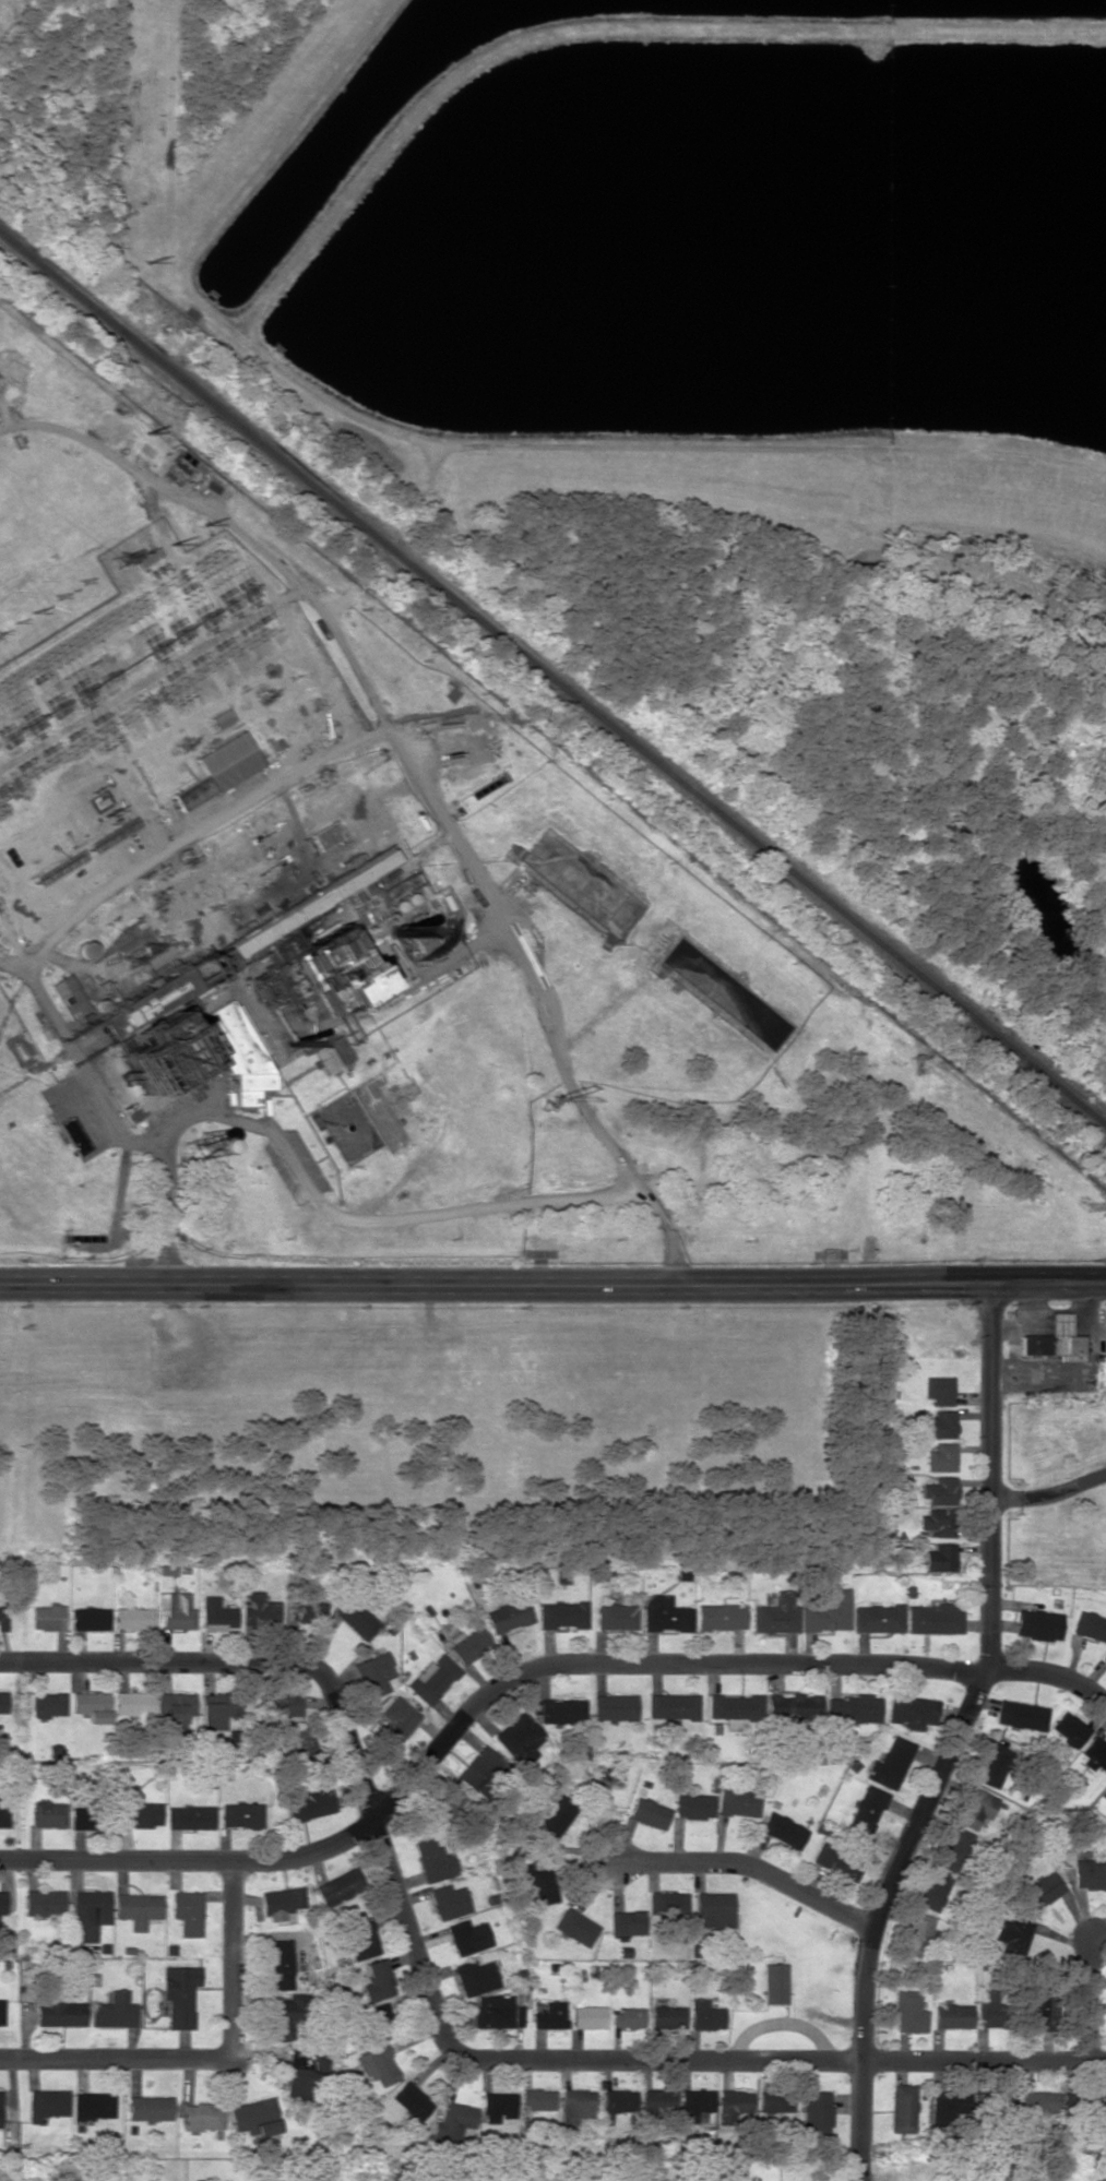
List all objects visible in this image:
power tower: (147, 249)
power tower: (151, 434)
power tower: (117, 559)
power tower: (32, 612)
power substation: (127, 651)
railway: (550, 686)
building: (227, 761)
road: (417, 776)
building: (191, 791)
building: (325, 835)
building: (247, 881)
building: (278, 931)
building: (428, 942)
building: (68, 996)
building: (241, 1053)
building: (332, 1053)
building: (153, 1060)
road: (280, 1145)
traffic signals: (989, 1280)
road: (552, 1282)
building: (1055, 1339)
building: (939, 1390)
building: (941, 1425)
building: (942, 1457)
building: (941, 1491)
road: (1048, 1492)
building: (939, 1521)
building: (941, 1558)
building: (258, 1609)
building: (174, 1610)
building: (309, 1611)
building: (828, 1611)
building: (216, 1612)
building: (3, 1613)
building: (776, 1613)
building: (562, 1614)
building: (665, 1614)
building: (721, 1614)
building: (509, 1616)
building: (47, 1617)
building: (616, 1617)
building: (88, 1618)
building: (132, 1618)
building: (878, 1618)
building: (935, 1618)
building: (358, 1620)
building: (1038, 1624)
building: (1090, 1625)
building: (469, 1645)
building: (1104, 1658)
road: (519, 1668)
building: (374, 1673)
building: (432, 1678)
building: (3, 1702)
building: (132, 1703)
building: (48, 1704)
building: (91, 1705)
building: (283, 1705)
building: (614, 1706)
building: (673, 1706)
building: (852, 1707)
building: (735, 1708)
building: (794, 1708)
building: (177, 1709)
building: (560, 1711)
building: (912, 1711)
building: (1021, 1714)
building: (211, 1716)
building: (396, 1720)
building: (1070, 1728)
building: (519, 1737)
road: (954, 1737)
building: (302, 1744)
building: (1095, 1753)
building: (991, 1762)
building: (890, 1763)
building: (477, 1766)
building: (739, 1801)
building: (310, 1803)
building: (445, 1804)
building: (693, 1805)
building: (973, 1808)
building: (3, 1809)
building: (866, 1809)
building: (139, 1811)
building: (48, 1813)
building: (649, 1813)
building: (241, 1814)
building: (78, 1815)
building: (190, 1816)
building: (554, 1818)
building: (782, 1830)
building: (952, 1848)
building: (835, 1859)
building: (433, 1860)
road: (746, 1863)
building: (1090, 1873)
building: (539, 1881)
building: (338, 1887)
building: (932, 1888)
building: (1042, 1891)
building: (449, 1900)
building: (43, 1902)
building: (667, 1903)
building: (282, 1904)
building: (136, 1908)
building: (714, 1908)
building: (1, 1909)
building: (188, 1911)
building: (90, 1912)
building: (627, 1922)
building: (574, 1927)
building: (1016, 1933)
building: (916, 1934)
building: (467, 1936)
building: (362, 1938)
building: (280, 1964)
building: (474, 1976)
building: (377, 1980)
building: (773, 1982)
building: (180, 1994)
road: (1089, 2003)
building: (990, 2010)
building: (58, 2011)
building: (114, 2011)
building: (495, 2011)
building: (1040, 2011)
building: (1, 2012)
building: (908, 2012)
road: (436, 2014)
building: (703, 2014)
building: (548, 2015)
building: (585, 2015)
building: (951, 2015)
building: (666, 2016)
building: (626, 2018)
building: (283, 2019)
road: (215, 2059)
building: (378, 2064)
building: (298, 2073)
building: (536, 2099)
building: (412, 2100)
building: (616, 2101)
building: (657, 2101)
building: (734, 2101)
building: (775, 2102)
building: (1036, 2102)
building: (95, 2105)
building: (498, 2106)
building: (575, 2106)
building: (0, 2107)
building: (150, 2108)
building: (903, 2108)
building: (948, 2108)
building: (1105, 2111)
building: (817, 2112)
building: (203, 2116)
building: (257, 2117)
building: (453, 2121)
building: (260, 2137)

